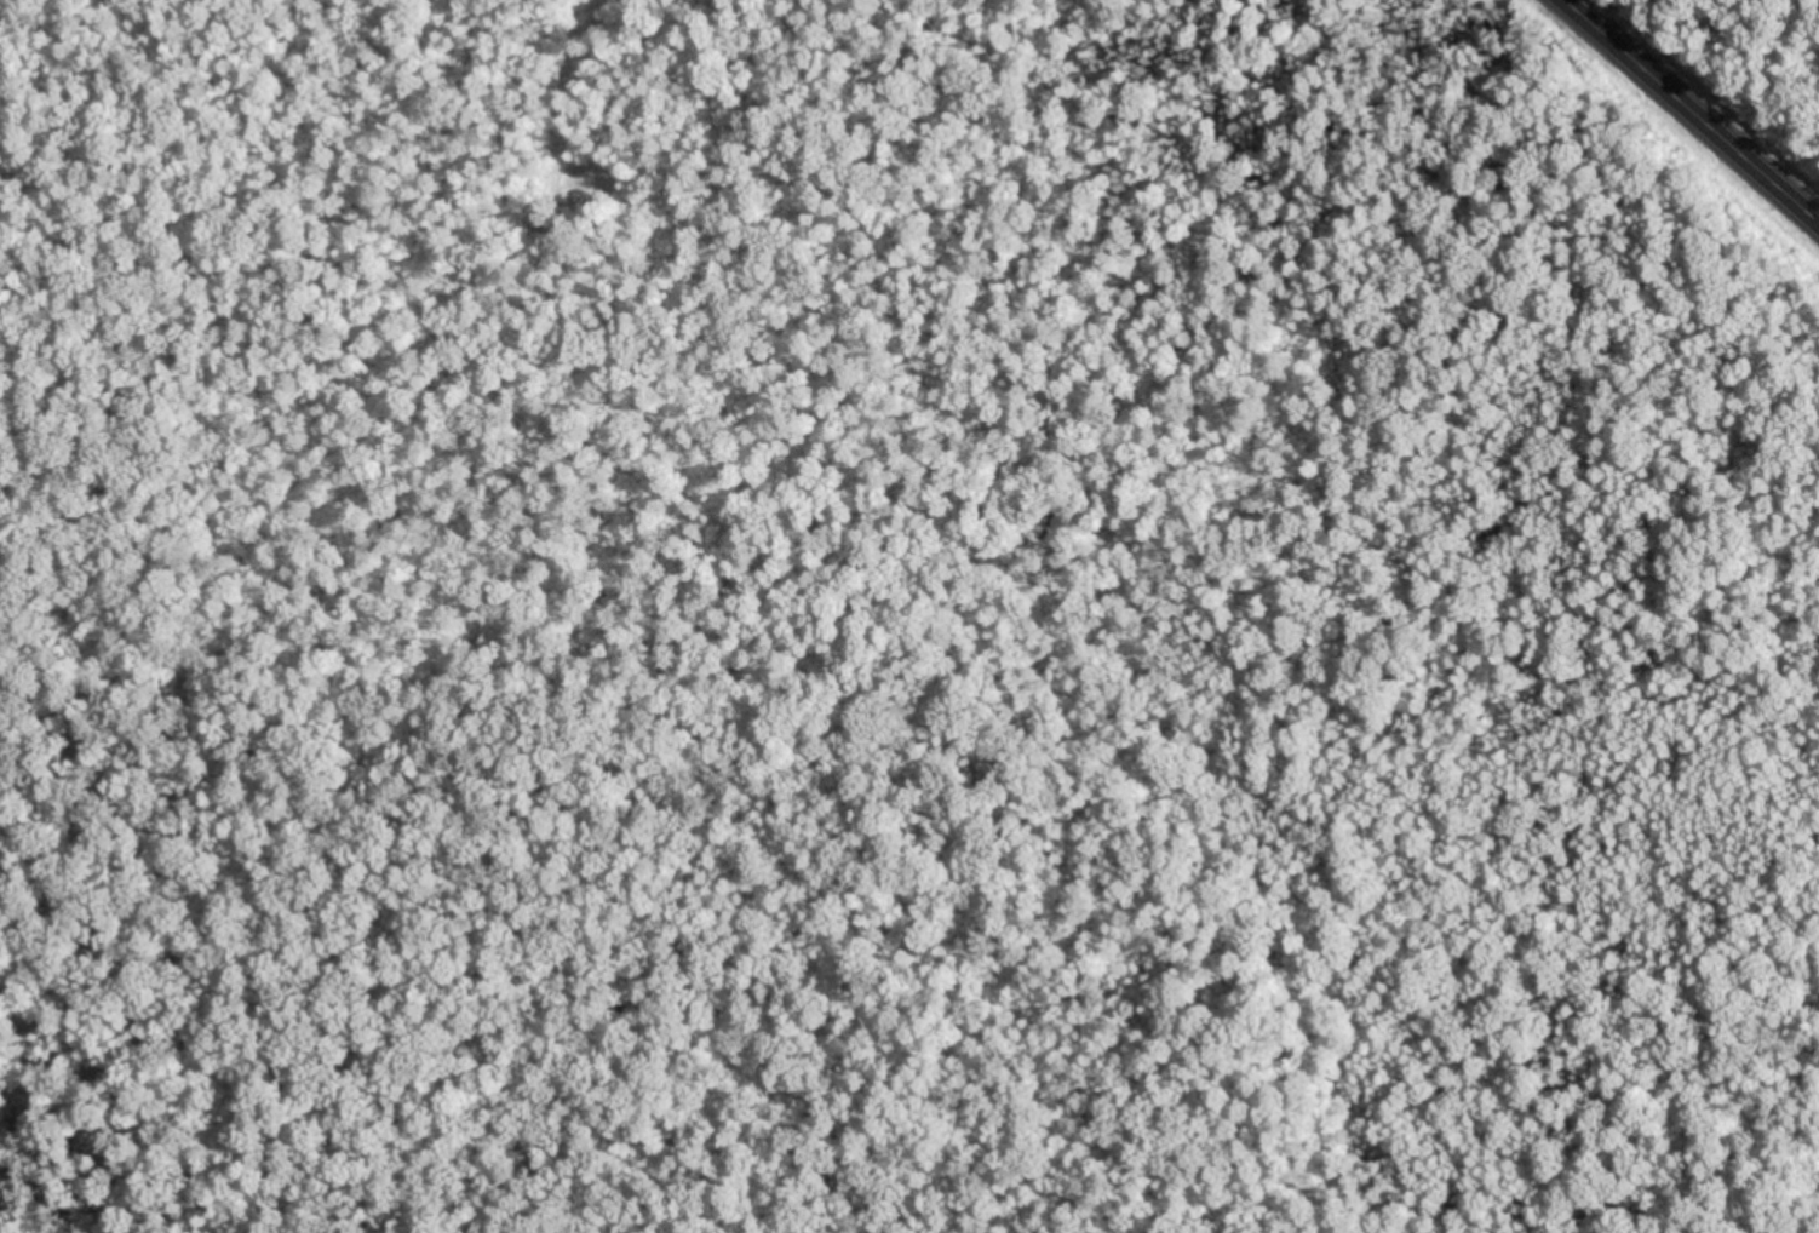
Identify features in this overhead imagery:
road: (1695, 108)

